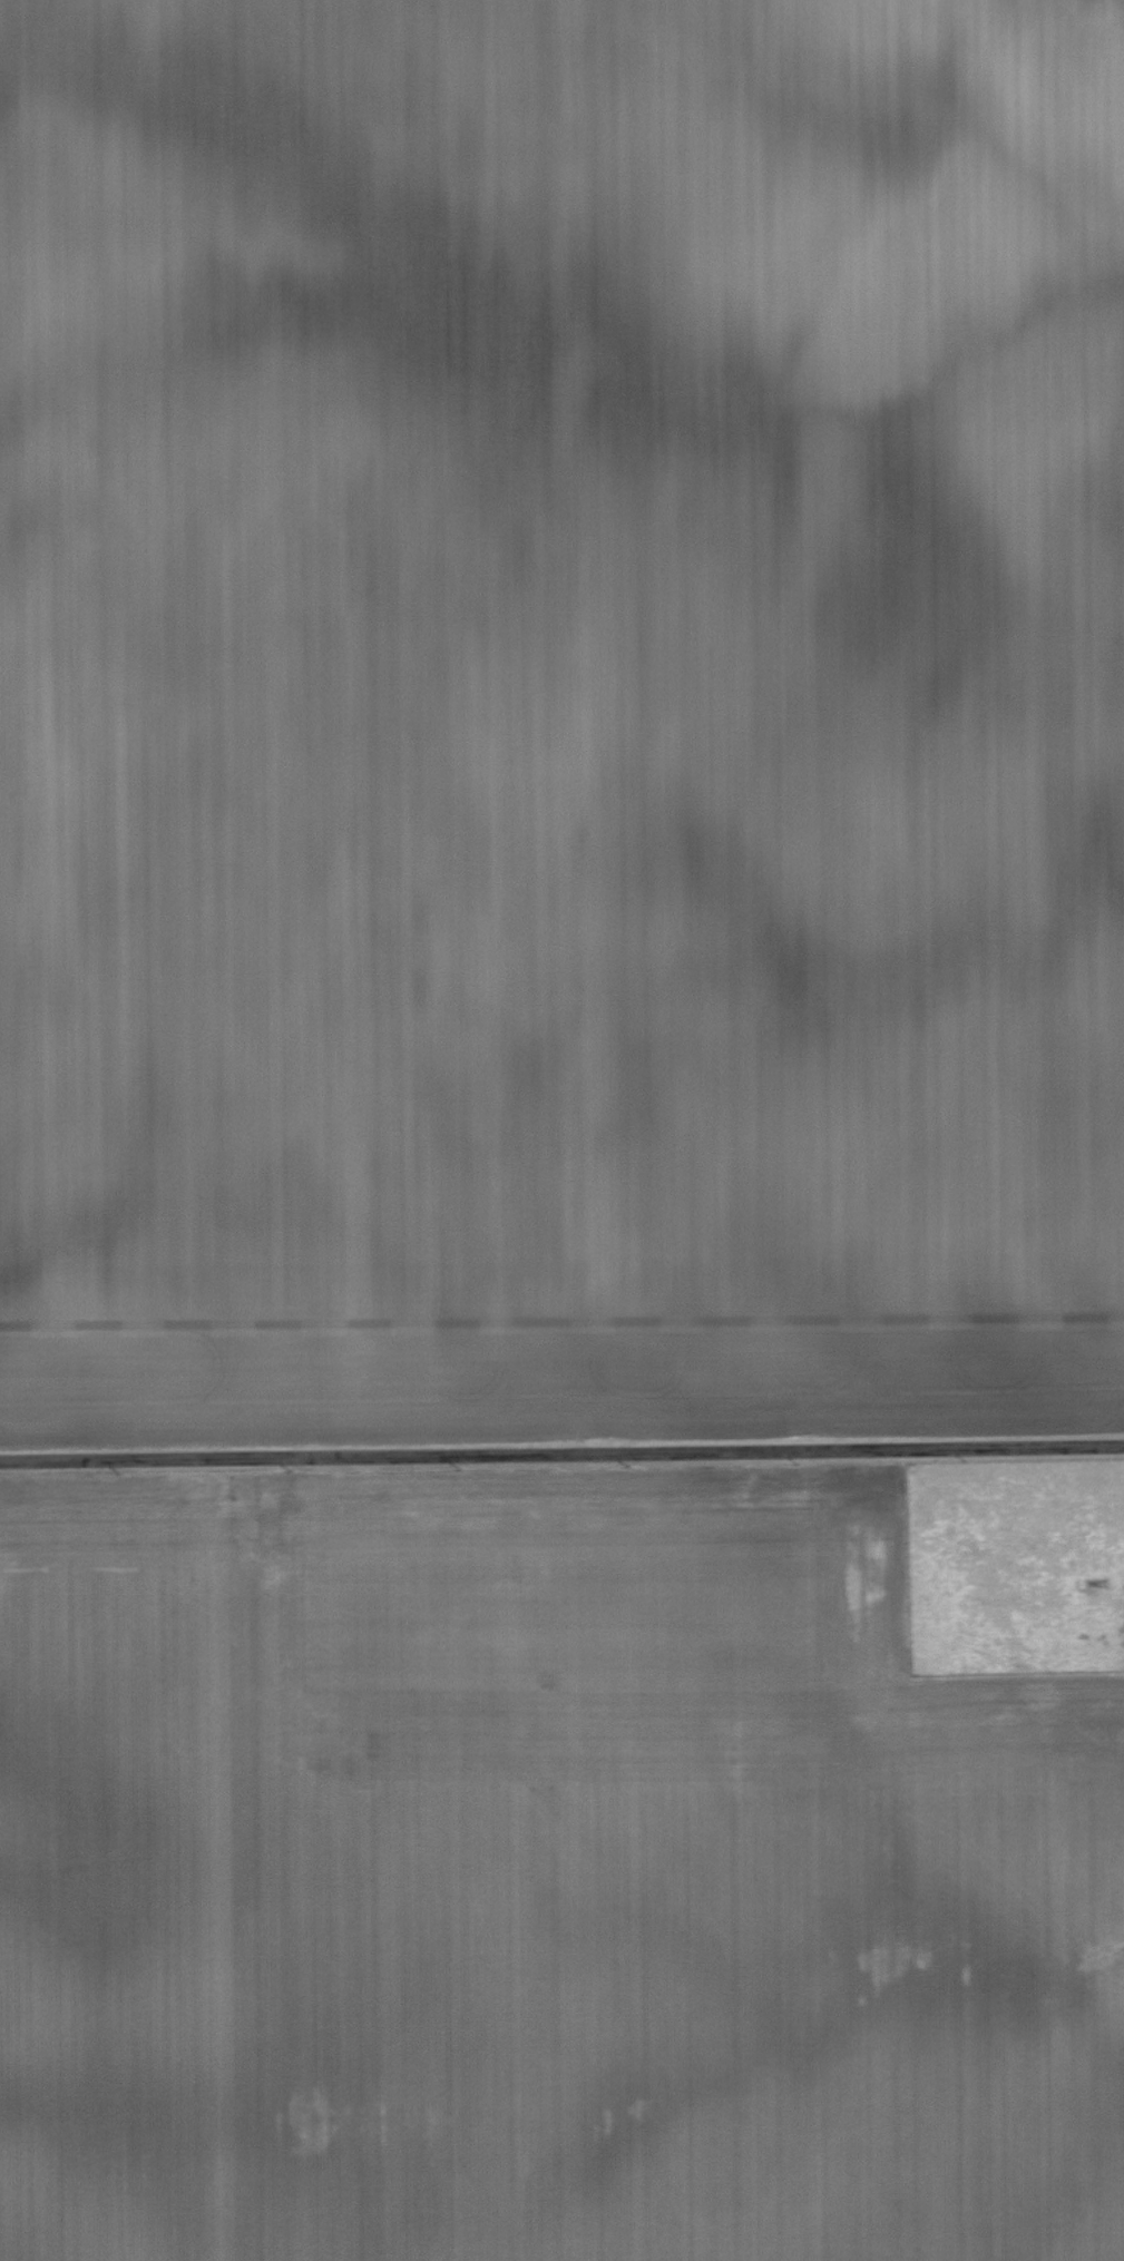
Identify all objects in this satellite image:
road: (561, 1452)

